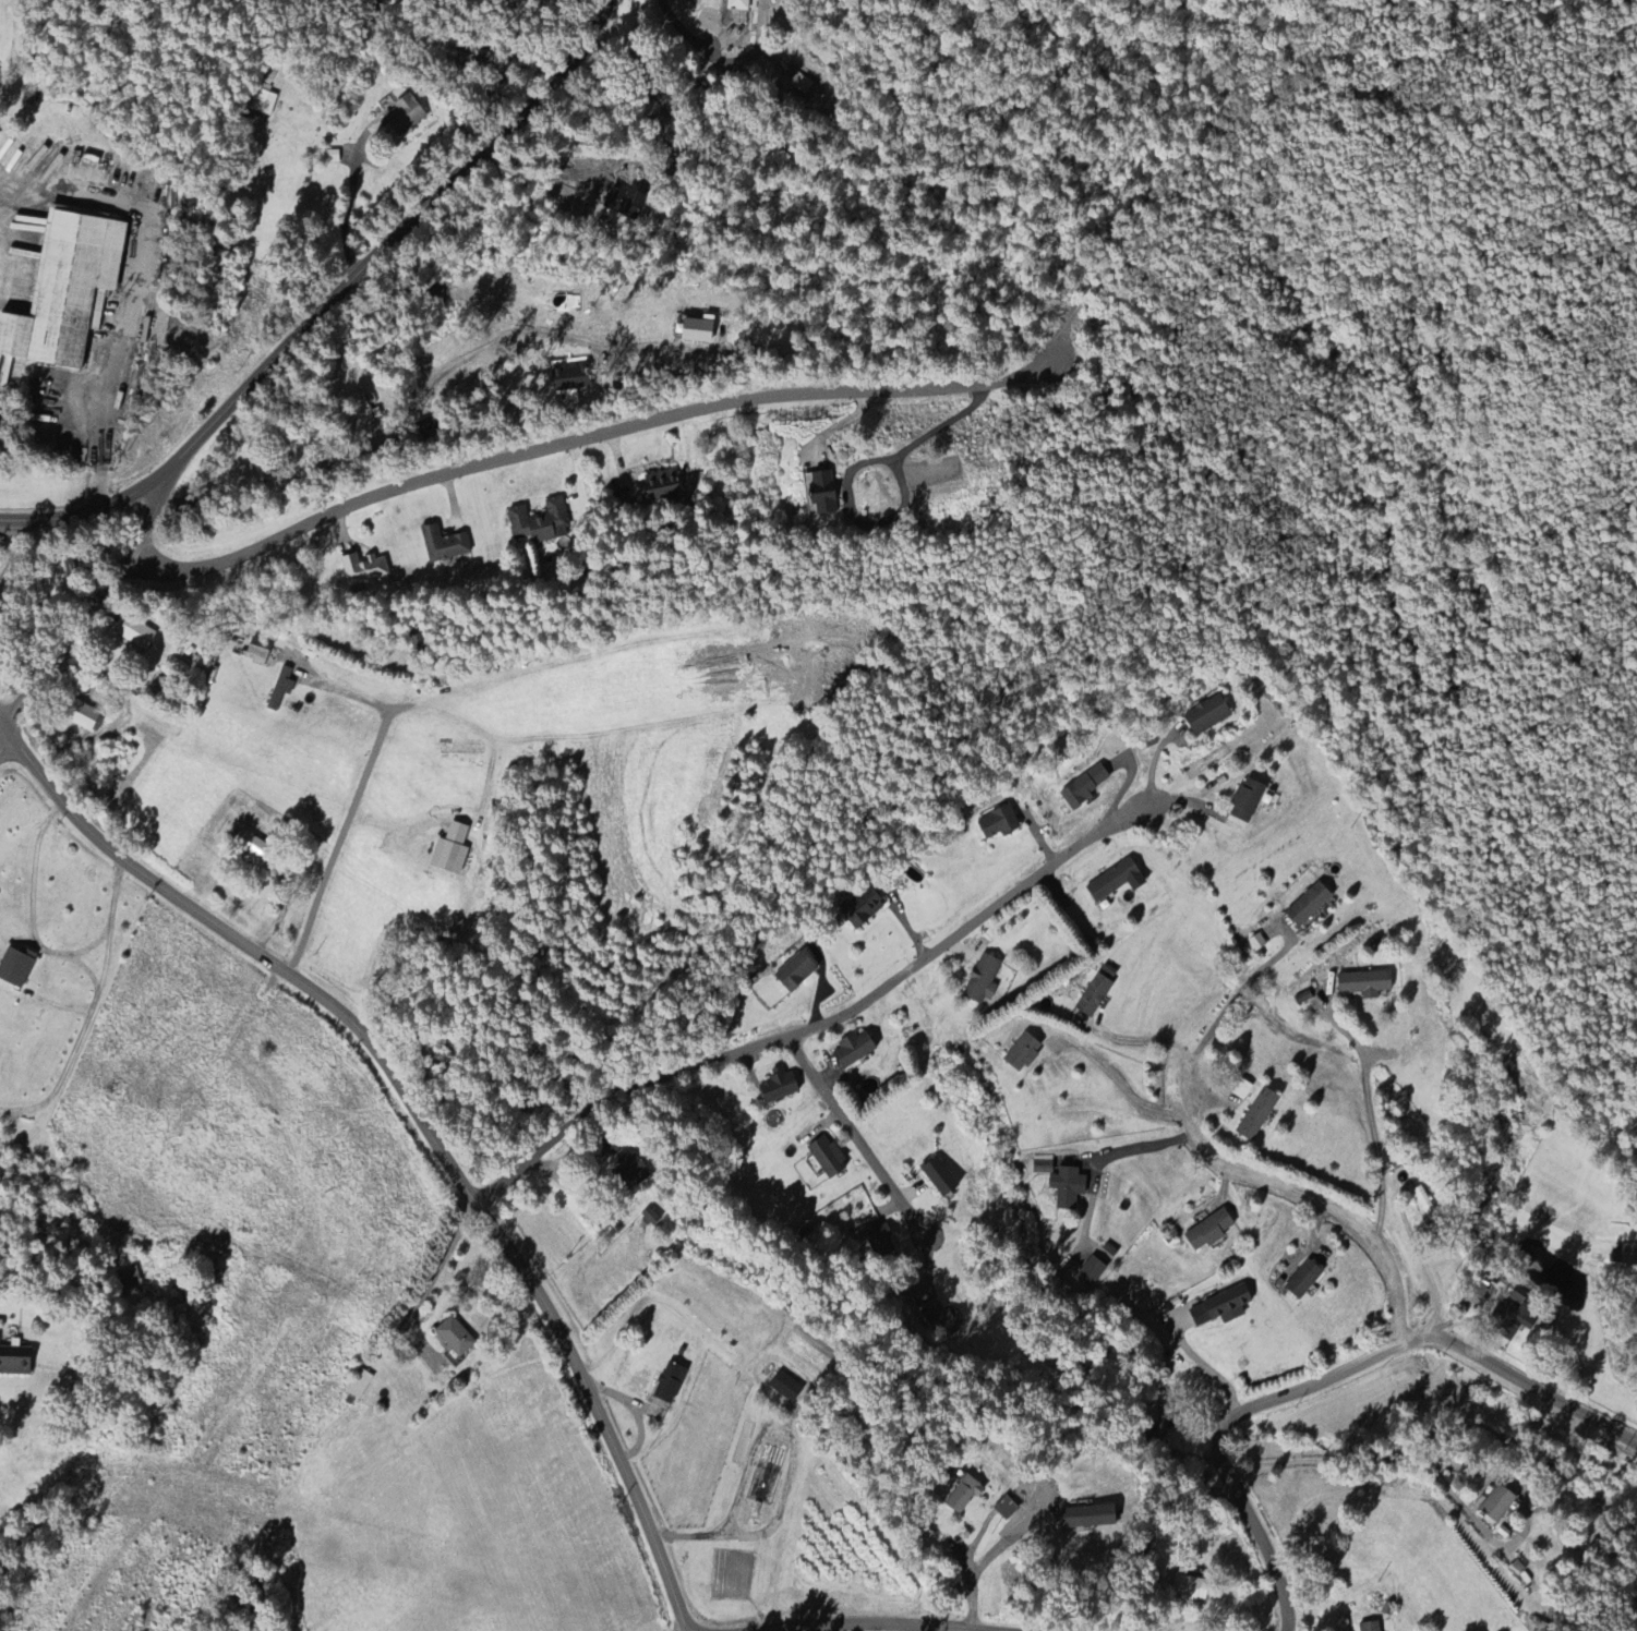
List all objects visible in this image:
building: (738, 5)
building: (804, 87)
building: (261, 95)
building: (405, 117)
building: (623, 204)
road: (347, 213)
road: (143, 246)
building: (68, 288)
road: (332, 303)
building: (698, 331)
building: (571, 378)
road: (829, 397)
road: (394, 442)
building: (664, 486)
building: (826, 492)
building: (619, 502)
building: (540, 523)
building: (444, 545)
building: (363, 569)
road: (87, 608)
building: (134, 632)
building: (258, 649)
building: (280, 689)
building: (1207, 716)
building: (1083, 788)
building: (1247, 801)
road: (348, 817)
building: (998, 823)
building: (252, 848)
building: (1116, 882)
building: (1309, 906)
building: (862, 910)
road: (32, 918)
building: (1257, 943)
building: (16, 967)
road: (87, 970)
building: (796, 974)
building: (983, 981)
building: (1364, 986)
building: (1094, 996)
road: (1230, 1003)
road: (91, 1012)
road: (816, 1025)
road: (1157, 1040)
building: (855, 1051)
building: (1023, 1053)
building: (780, 1087)
road: (1126, 1094)
building: (1257, 1115)
road: (411, 1120)
road: (1370, 1123)
road: (857, 1140)
road: (1151, 1145)
building: (828, 1159)
building: (626, 1164)
building: (1043, 1168)
building: (939, 1179)
building: (1068, 1188)
road: (1309, 1198)
building: (1433, 1218)
building: (1209, 1232)
building: (880, 1242)
building: (1625, 1256)
road: (1424, 1270)
building: (1091, 1273)
building: (130, 1281)
building: (1303, 1281)
road: (428, 1286)
building: (1221, 1308)
building: (1513, 1320)
building: (941, 1324)
building: (0, 1327)
building: (455, 1338)
building: (15, 1363)
road: (1328, 1381)
building: (359, 1385)
building: (670, 1385)
building: (784, 1387)
building: (1160, 1431)
road: (1461, 1469)
building: (964, 1495)
building: (1497, 1505)
building: (1007, 1509)
building: (1090, 1518)
road: (1633, 1518)
road: (989, 1554)
building: (1190, 1588)
building: (1371, 1627)
road: (857, 1629)

